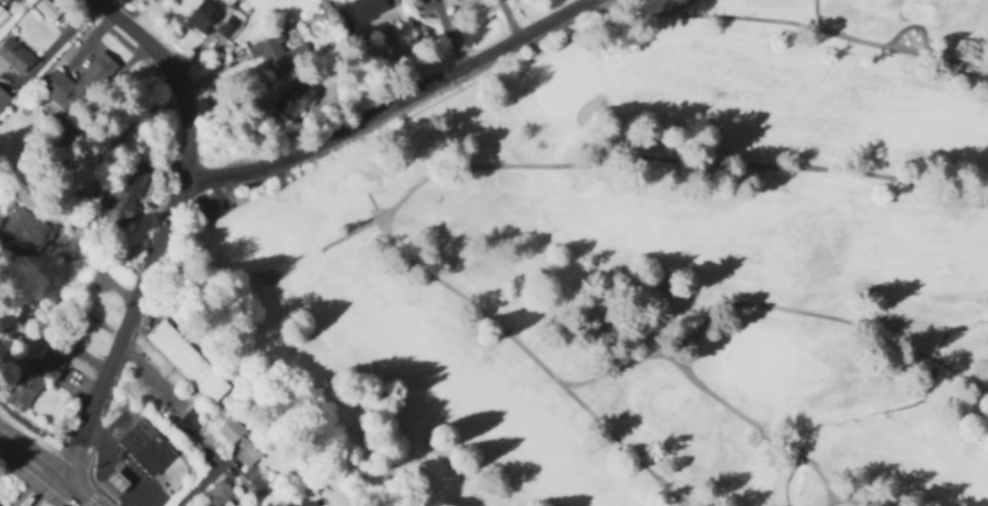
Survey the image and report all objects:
building: (153, 0)
building: (361, 11)
building: (205, 18)
building: (279, 55)
building: (13, 58)
building: (78, 85)
building: (295, 100)
building: (3, 101)
road: (394, 104)
building: (127, 194)
building: (28, 231)
road: (166, 233)
park: (652, 265)
building: (185, 359)
building: (36, 378)
building: (231, 431)
building: (145, 448)
building: (248, 457)
road: (122, 462)
road: (41, 472)
building: (117, 483)
gas station: (117, 483)
road: (38, 490)
building: (218, 496)

